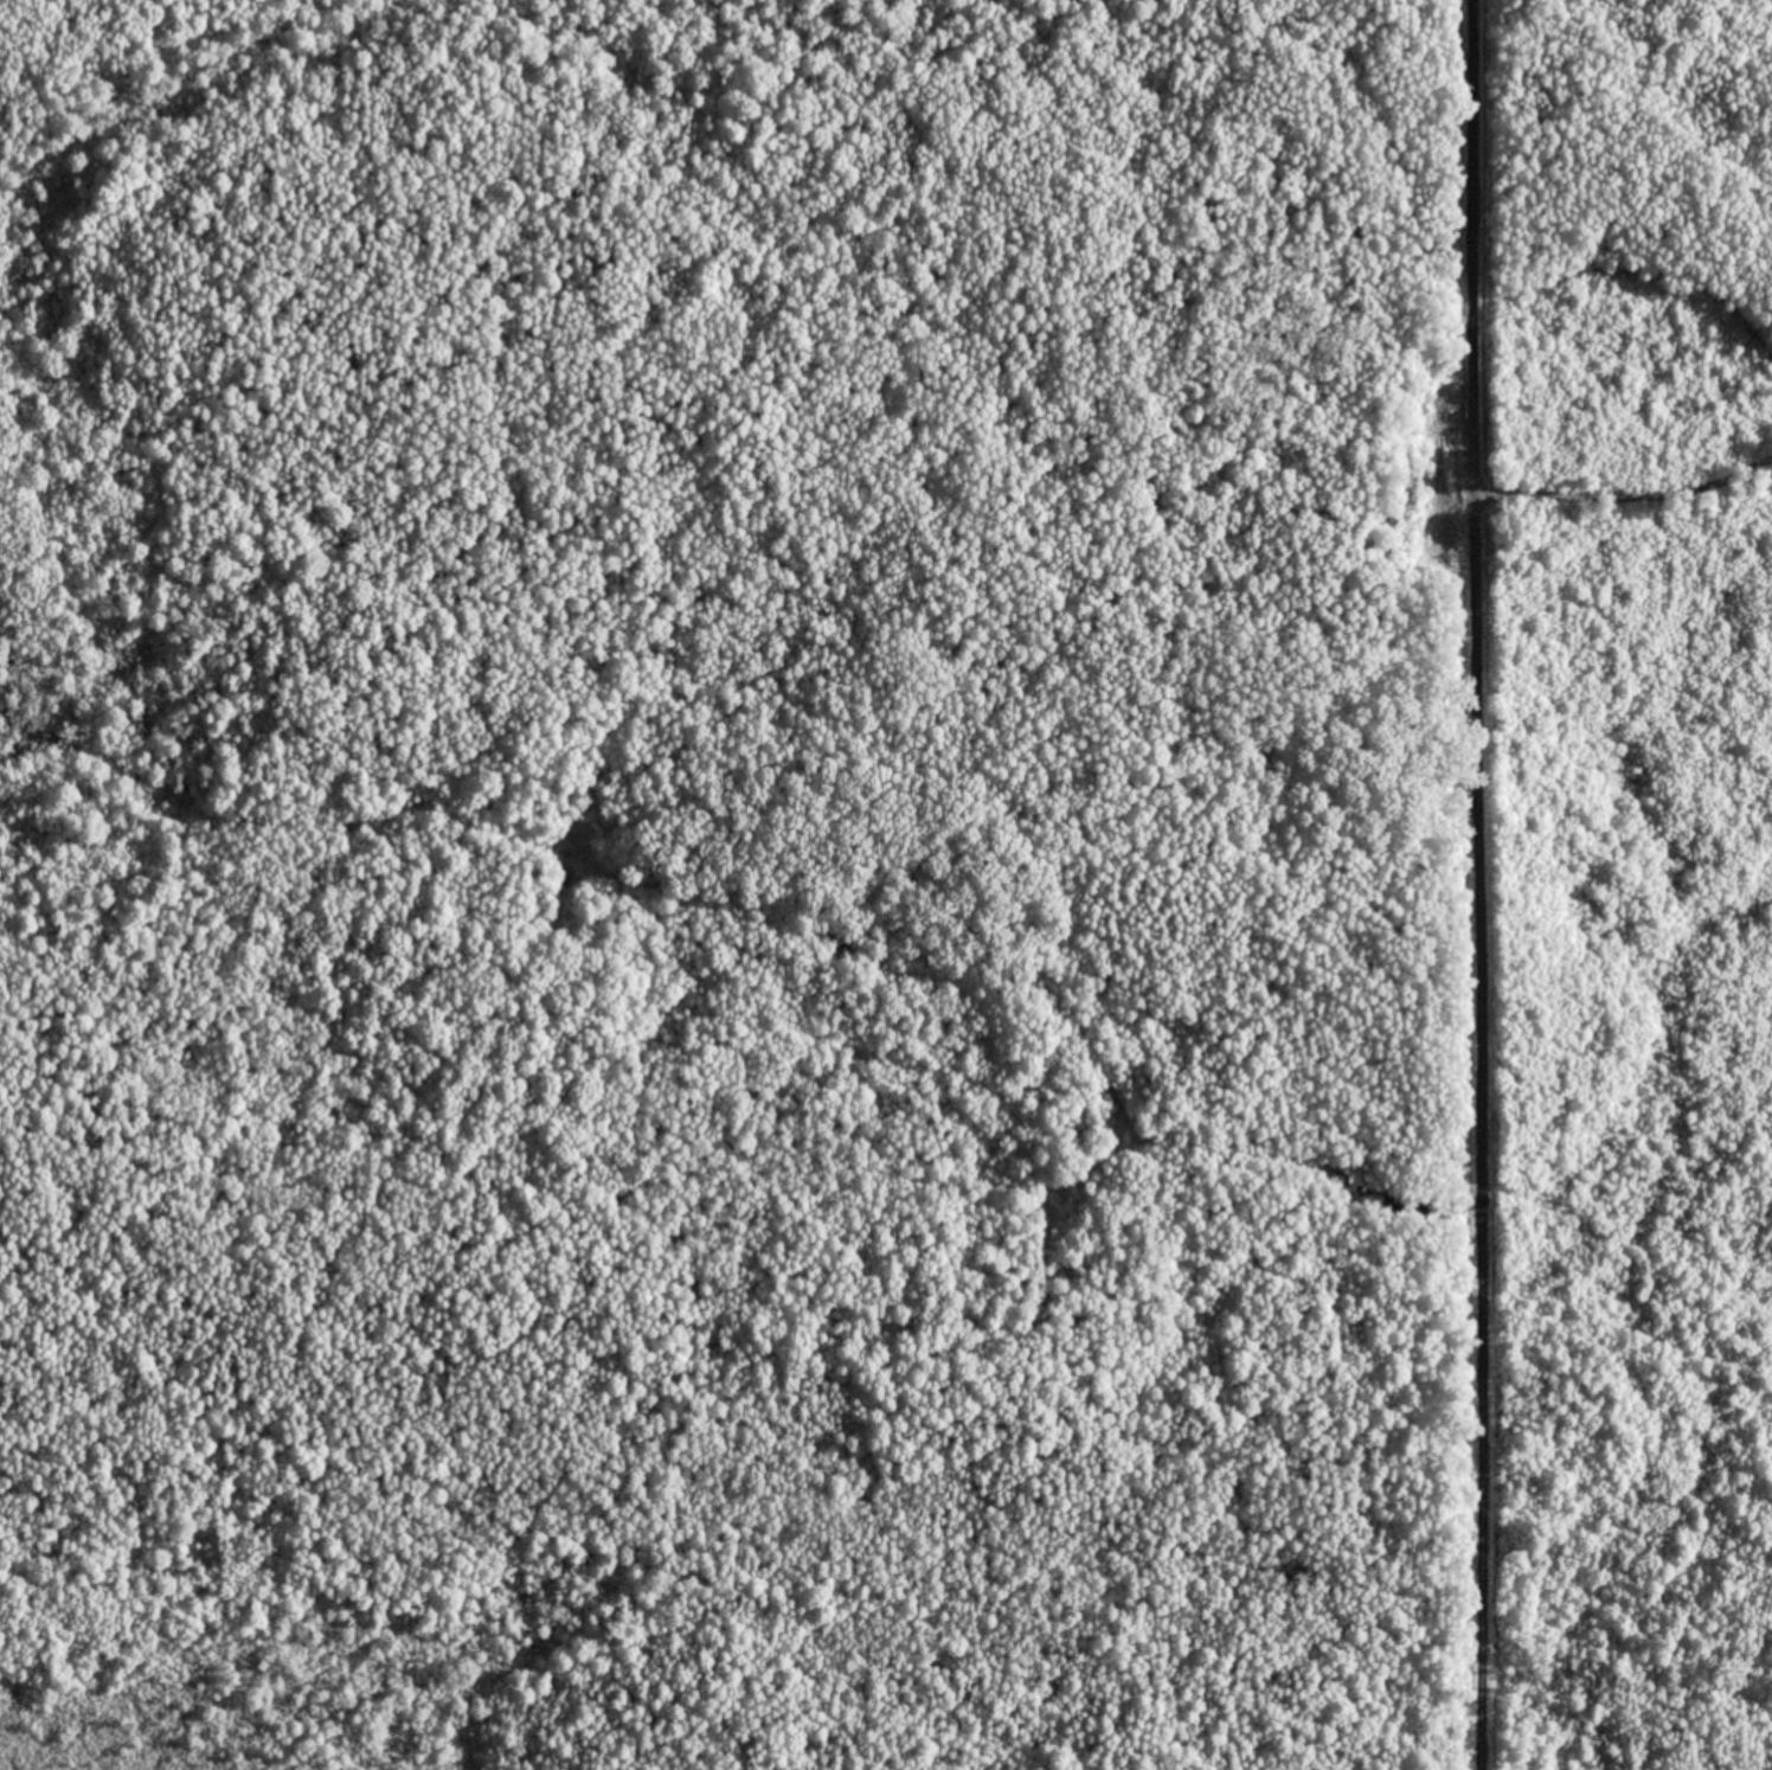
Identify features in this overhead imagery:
road: (1476, 884)

